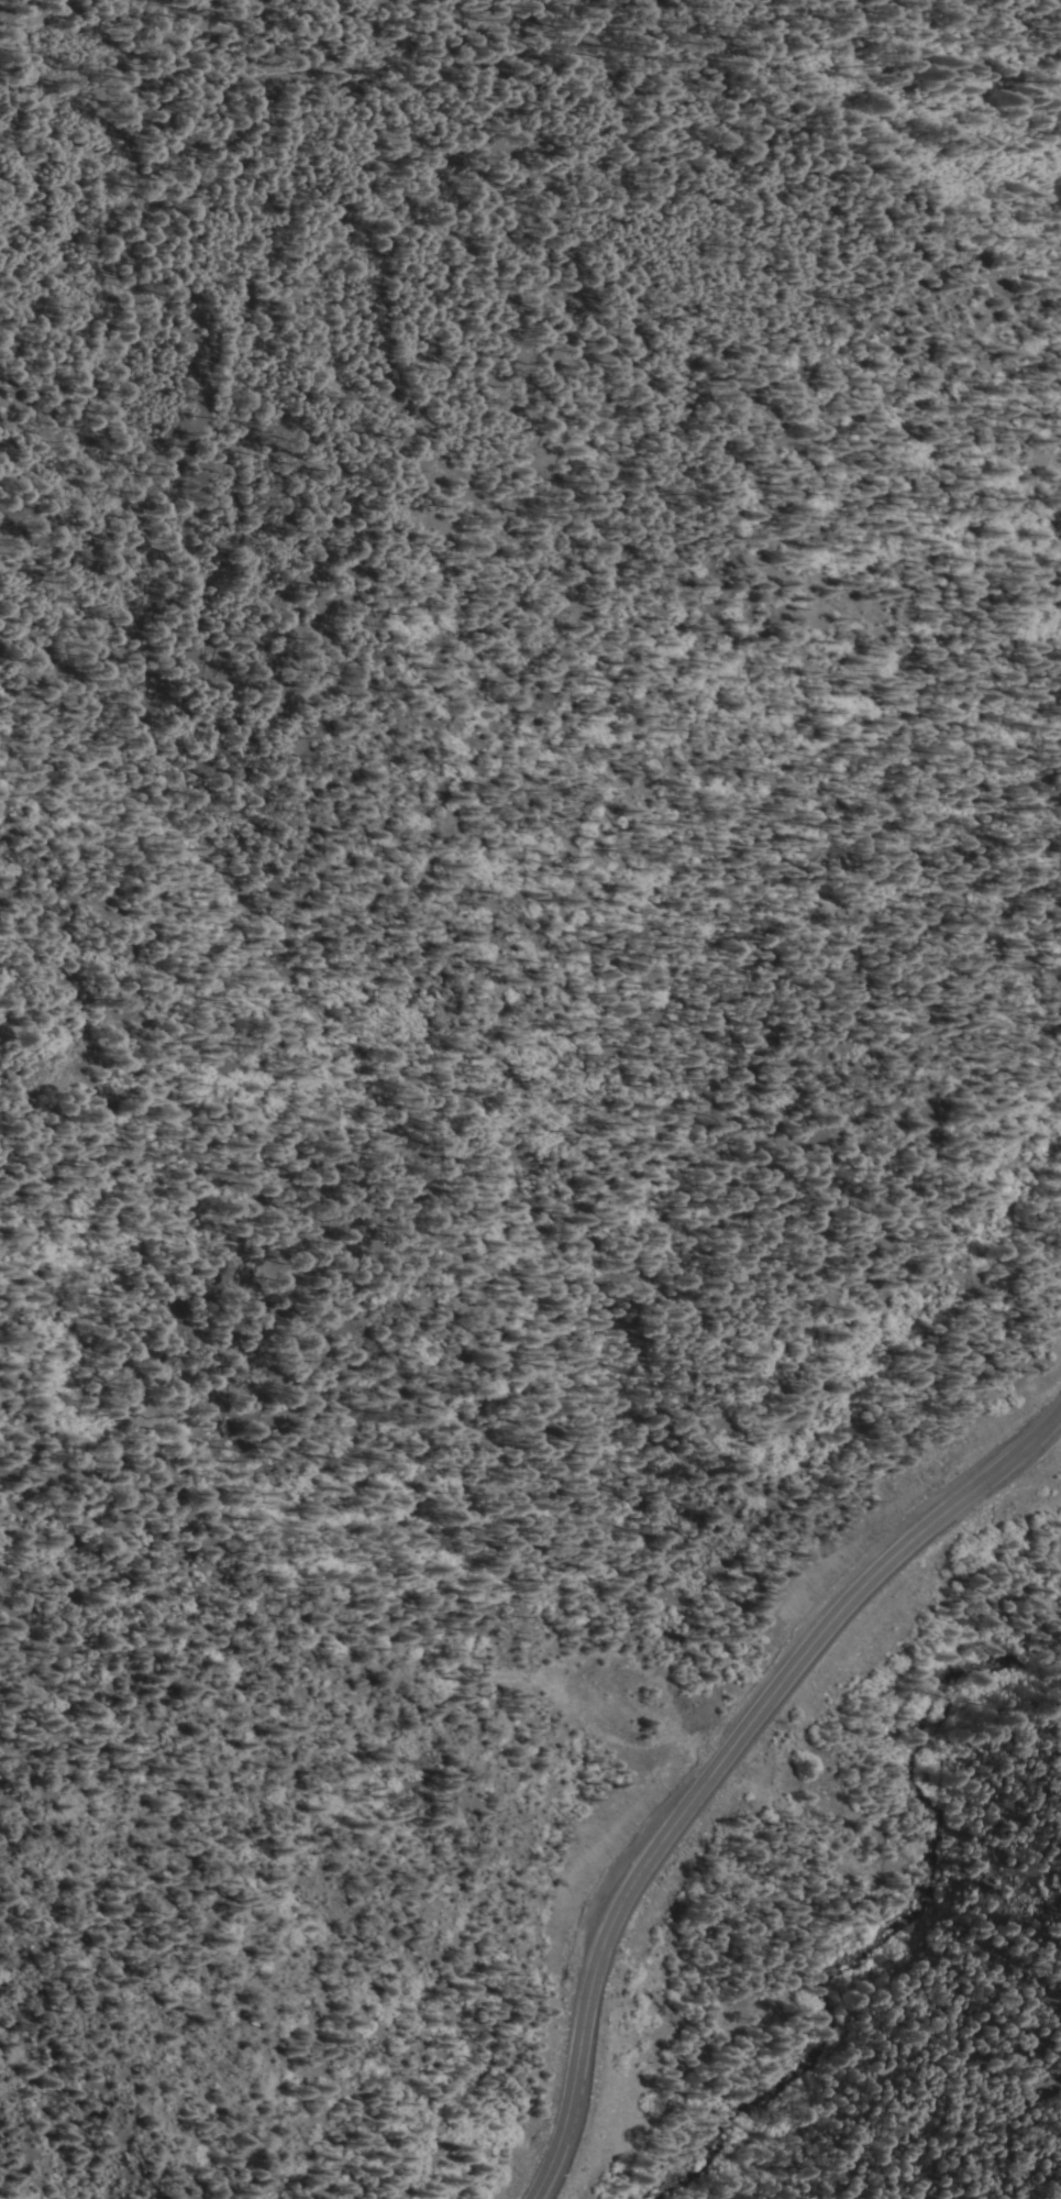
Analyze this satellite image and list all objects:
road: (720, 1758)

